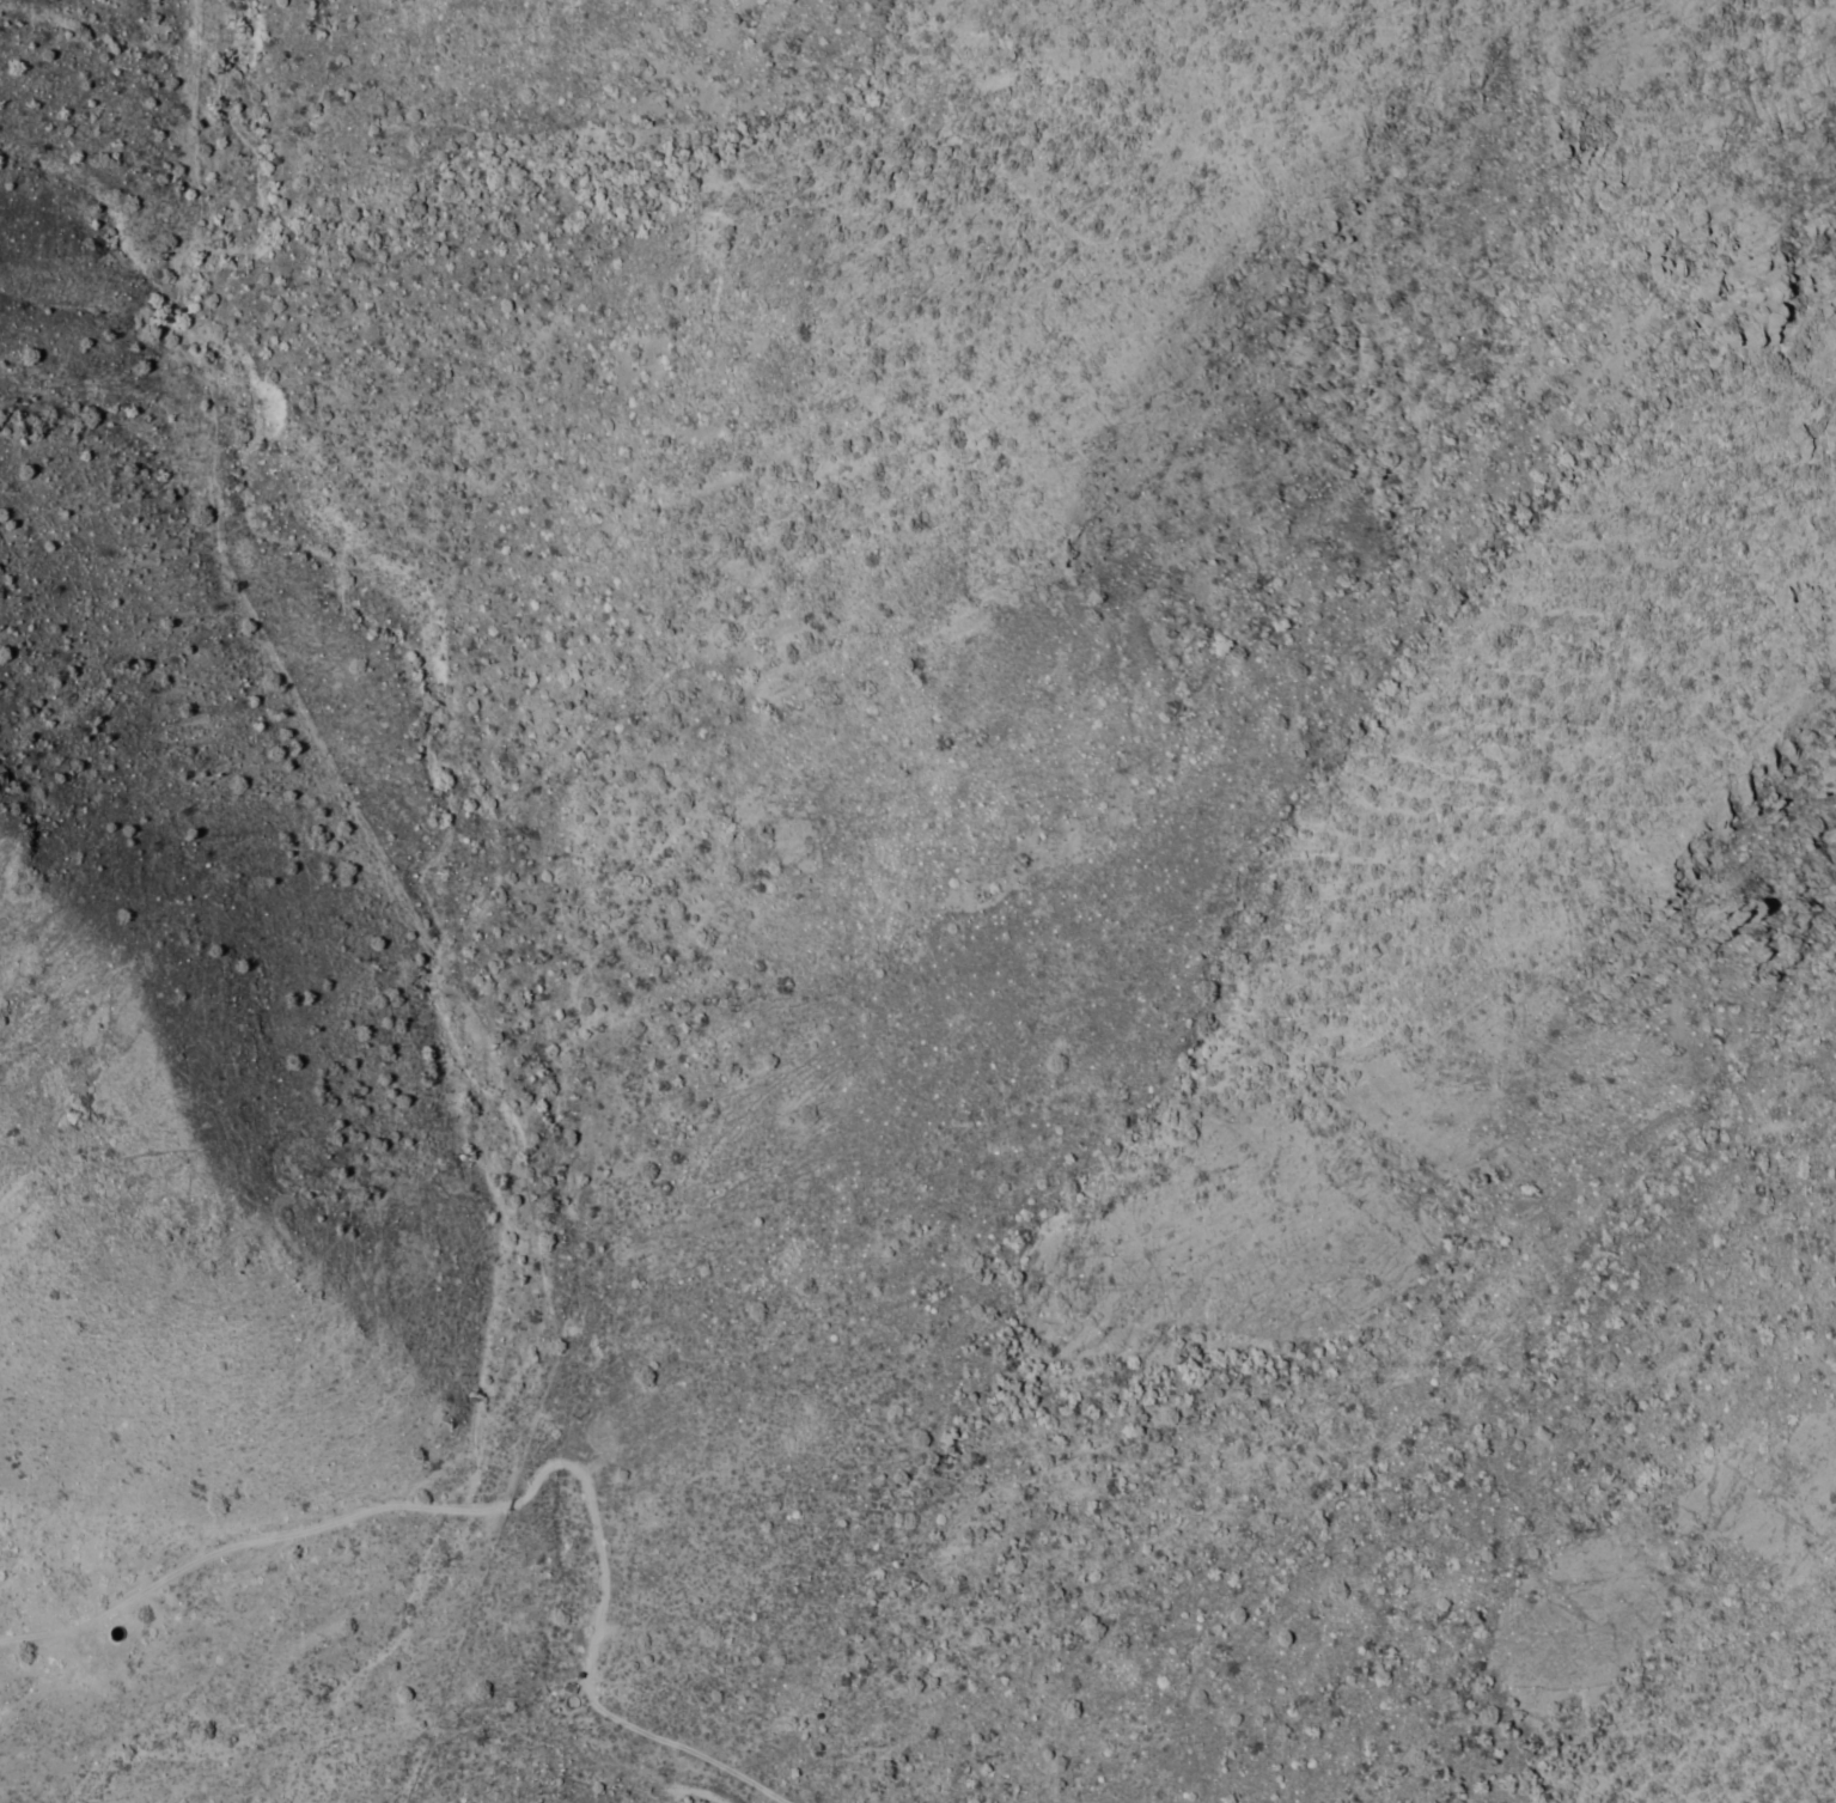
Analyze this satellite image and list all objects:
helipad: (600, 1427)
road: (519, 1490)
road: (812, 1802)

